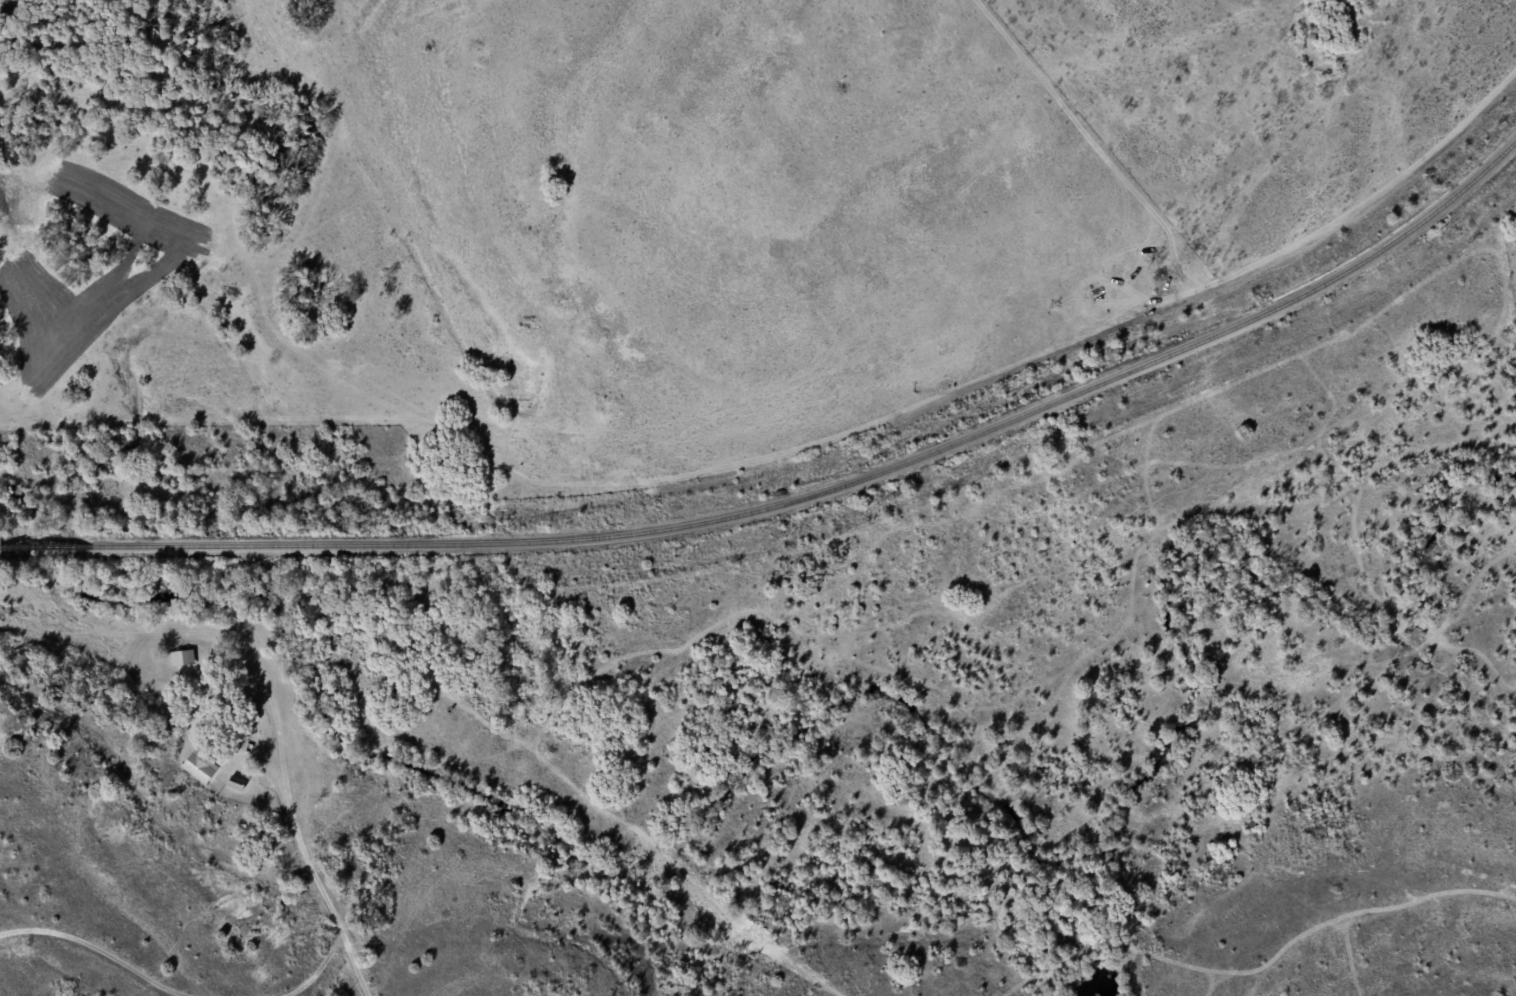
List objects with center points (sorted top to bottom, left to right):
railway: (802, 501)
building: (179, 657)
building: (195, 766)
road: (355, 873)

